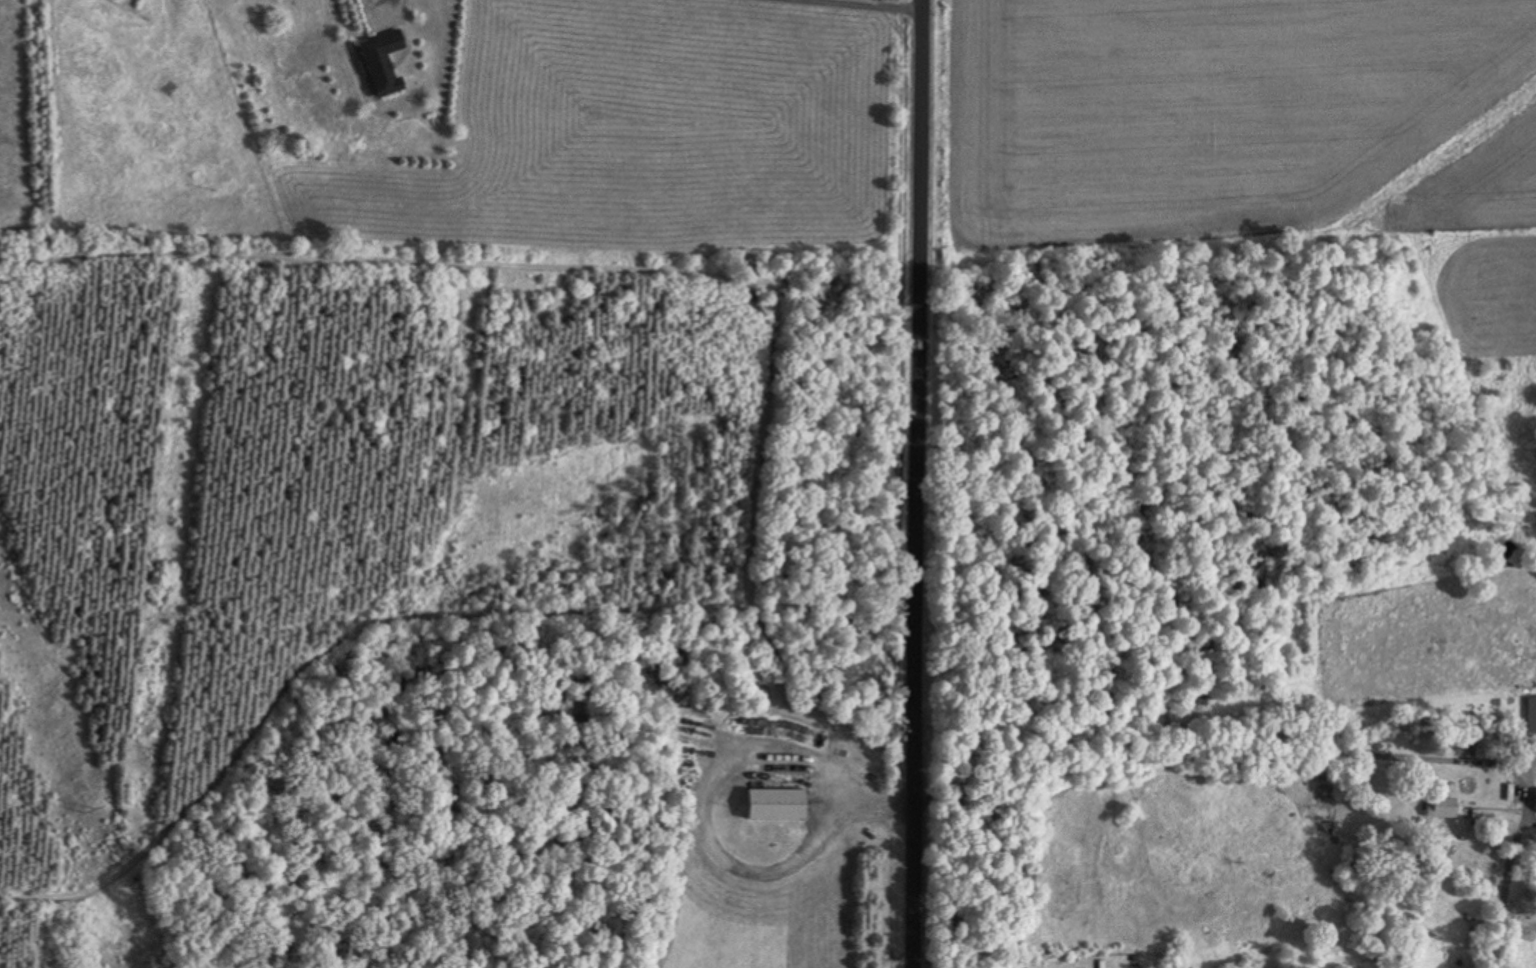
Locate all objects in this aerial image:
road: (884, 3)
building: (376, 61)
road: (914, 483)
road: (1311, 740)
building: (768, 801)
building: (1535, 801)
building: (1438, 806)
power tower: (84, 809)

